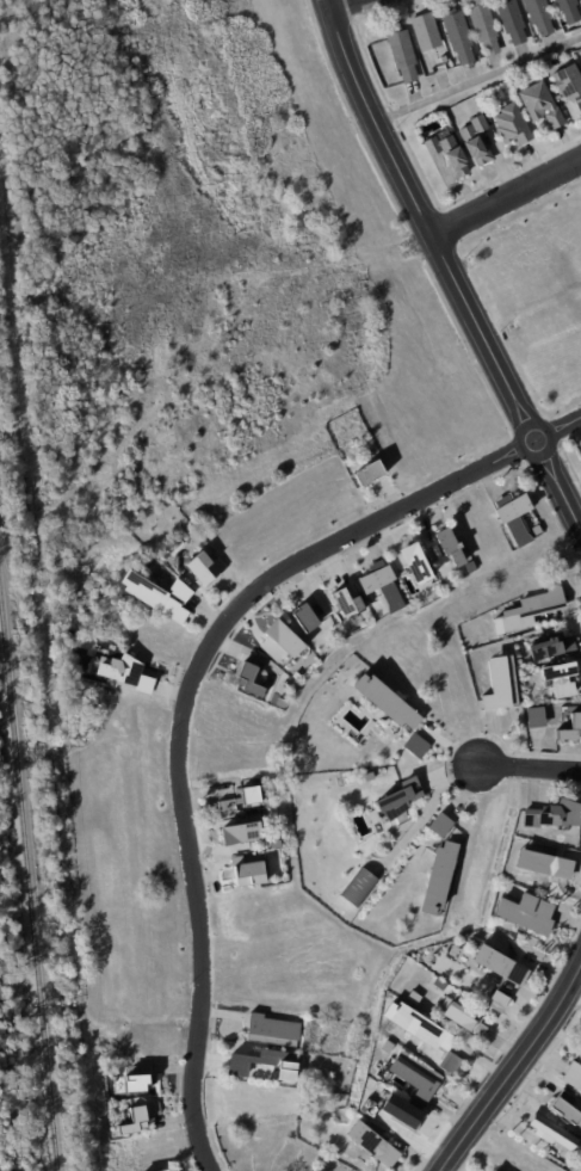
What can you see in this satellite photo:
road: (348, 5)
building: (568, 11)
building: (539, 16)
building: (511, 20)
building: (483, 26)
building: (424, 31)
building: (457, 33)
building: (401, 53)
building: (548, 64)
road: (477, 78)
building: (568, 84)
building: (540, 105)
building: (512, 125)
building: (475, 141)
building: (447, 155)
road: (506, 199)
road: (443, 258)
building: (371, 473)
building: (513, 516)
building: (449, 543)
building: (414, 560)
building: (470, 565)
building: (205, 568)
building: (381, 584)
building: (156, 593)
building: (347, 603)
building: (529, 610)
building: (305, 617)
building: (282, 636)
building: (551, 646)
building: (124, 671)
building: (251, 674)
building: (558, 676)
building: (500, 682)
road: (196, 690)
building: (384, 699)
building: (534, 715)
building: (570, 726)
building: (415, 744)
road: (529, 766)
building: (369, 776)
building: (251, 794)
building: (397, 797)
building: (225, 807)
building: (554, 814)
building: (439, 824)
building: (240, 831)
building: (274, 844)
building: (543, 863)
building: (251, 873)
building: (438, 877)
building: (357, 886)
railway: (30, 893)
building: (525, 912)
building: (499, 964)
building: (439, 984)
building: (412, 997)
building: (496, 1001)
building: (463, 1018)
building: (416, 1025)
building: (272, 1030)
building: (264, 1062)
building: (450, 1064)
road: (514, 1073)
building: (415, 1076)
building: (571, 1076)
building: (132, 1083)
building: (564, 1108)
building: (400, 1110)
building: (132, 1121)
building: (551, 1133)
building: (370, 1142)
building: (162, 1170)

